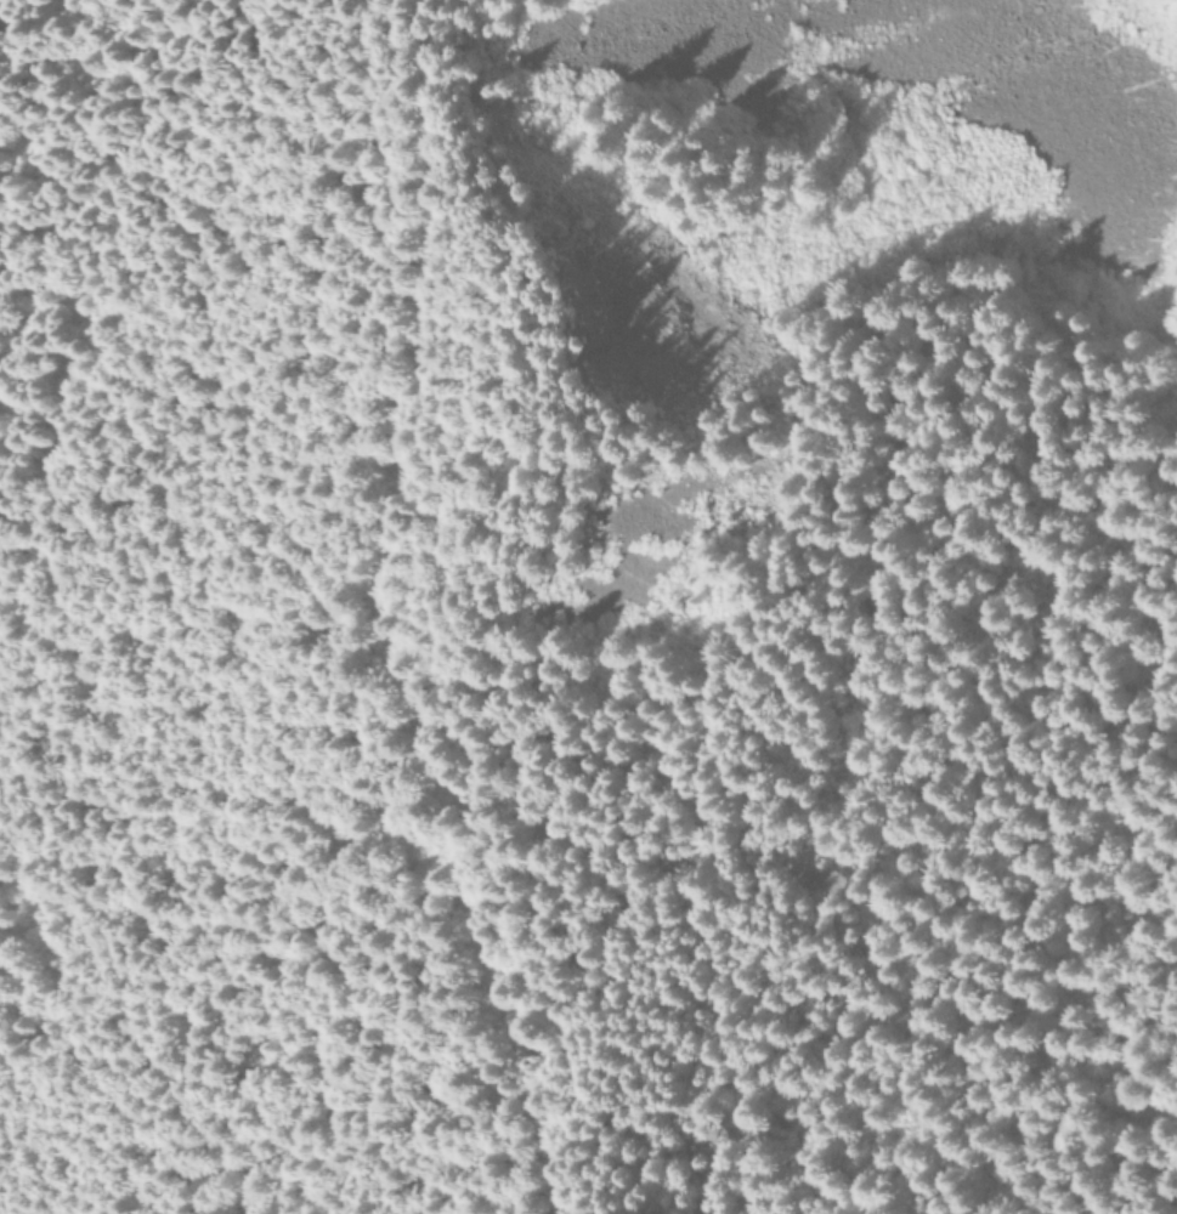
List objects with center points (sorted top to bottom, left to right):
road: (418, 614)

